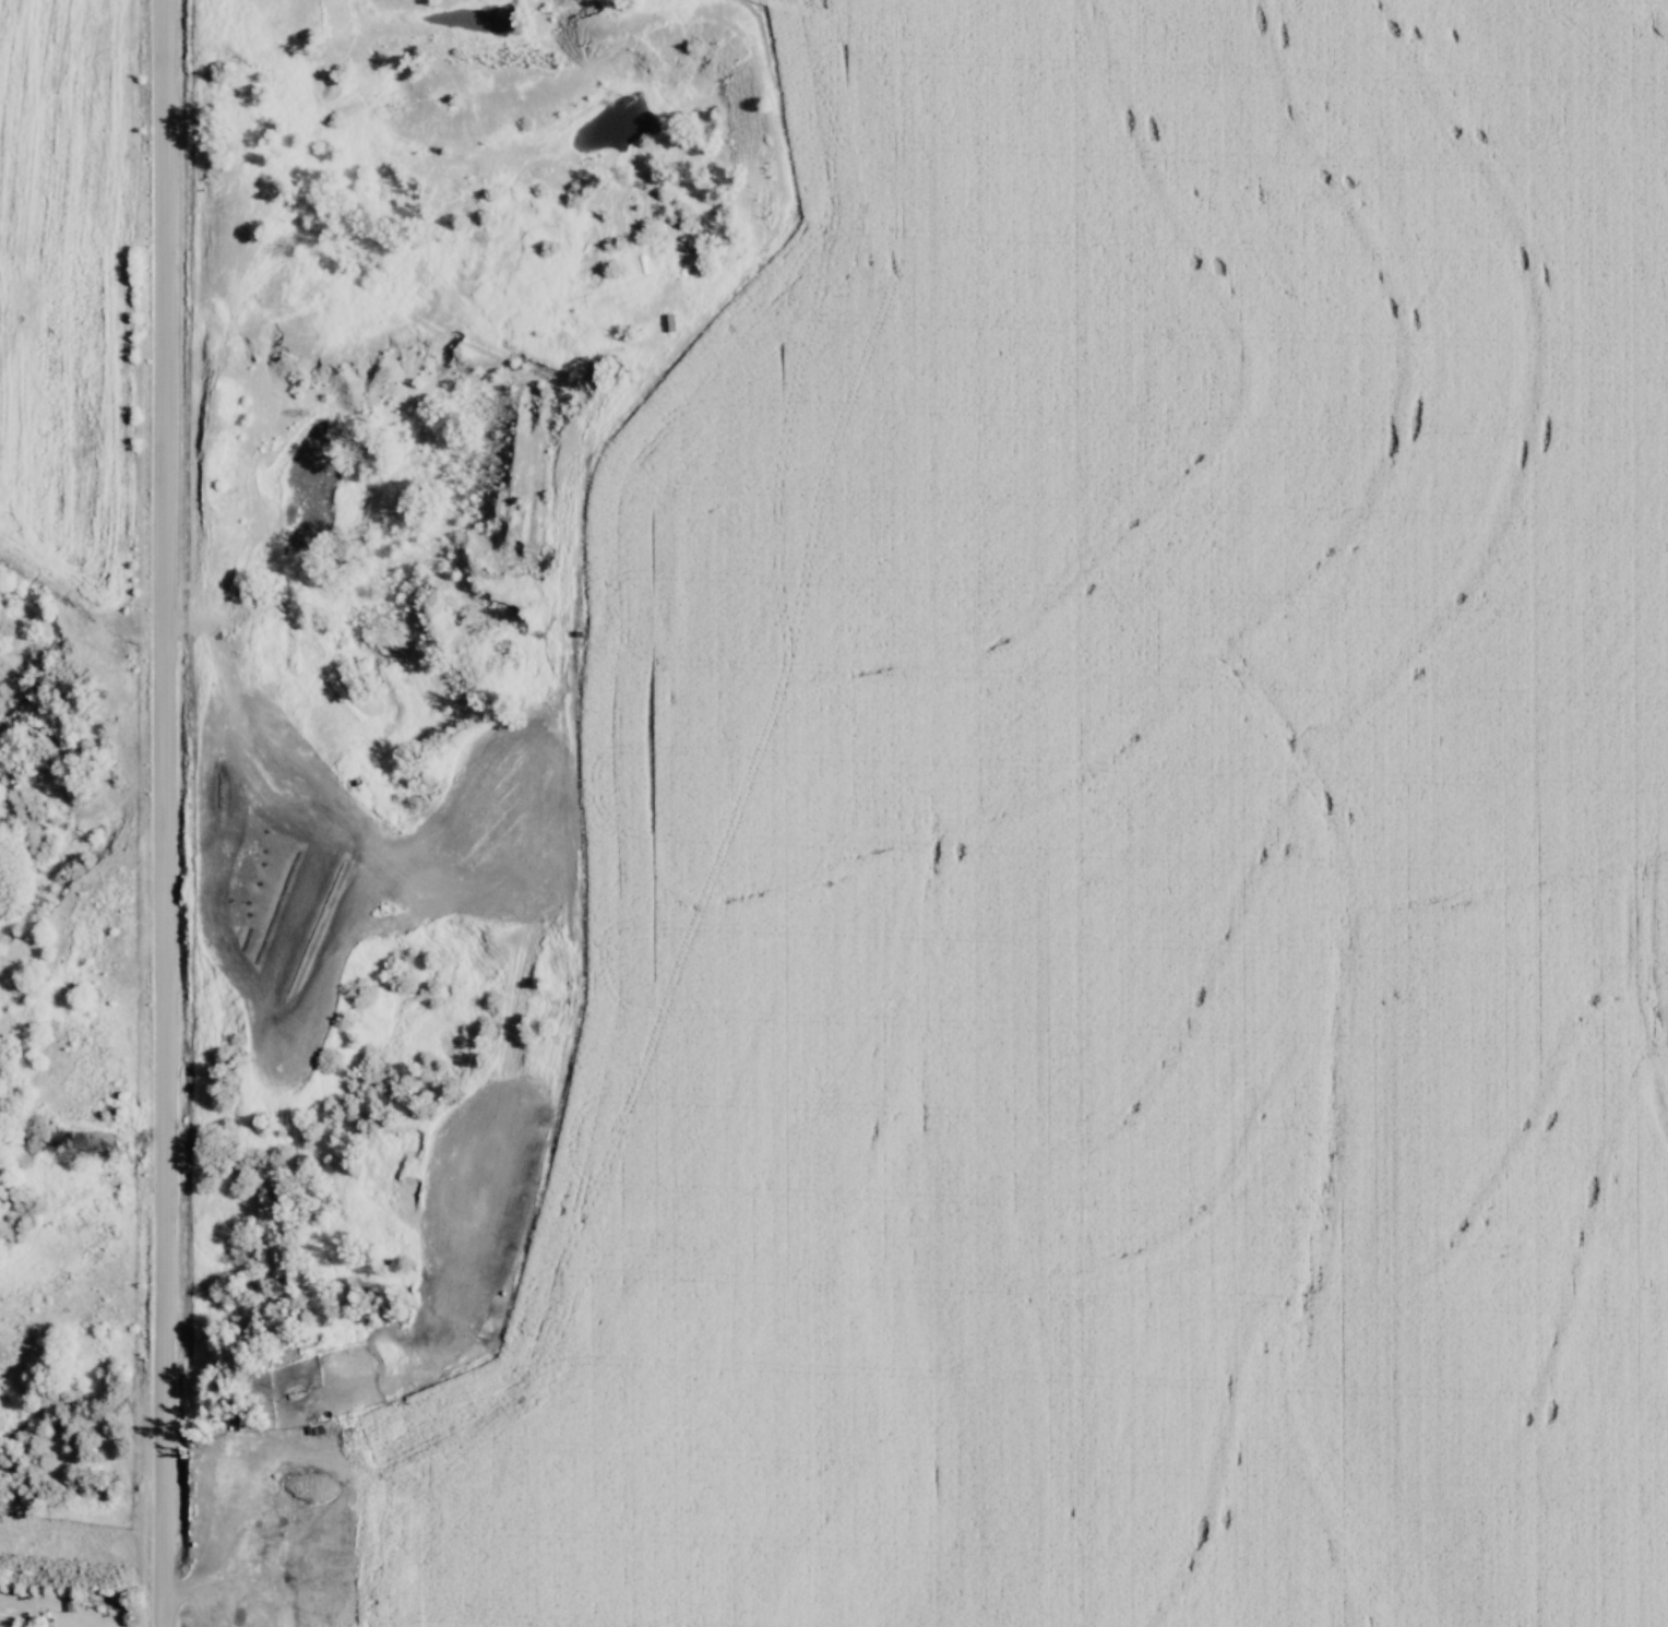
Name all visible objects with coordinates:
road: (164, 813)

